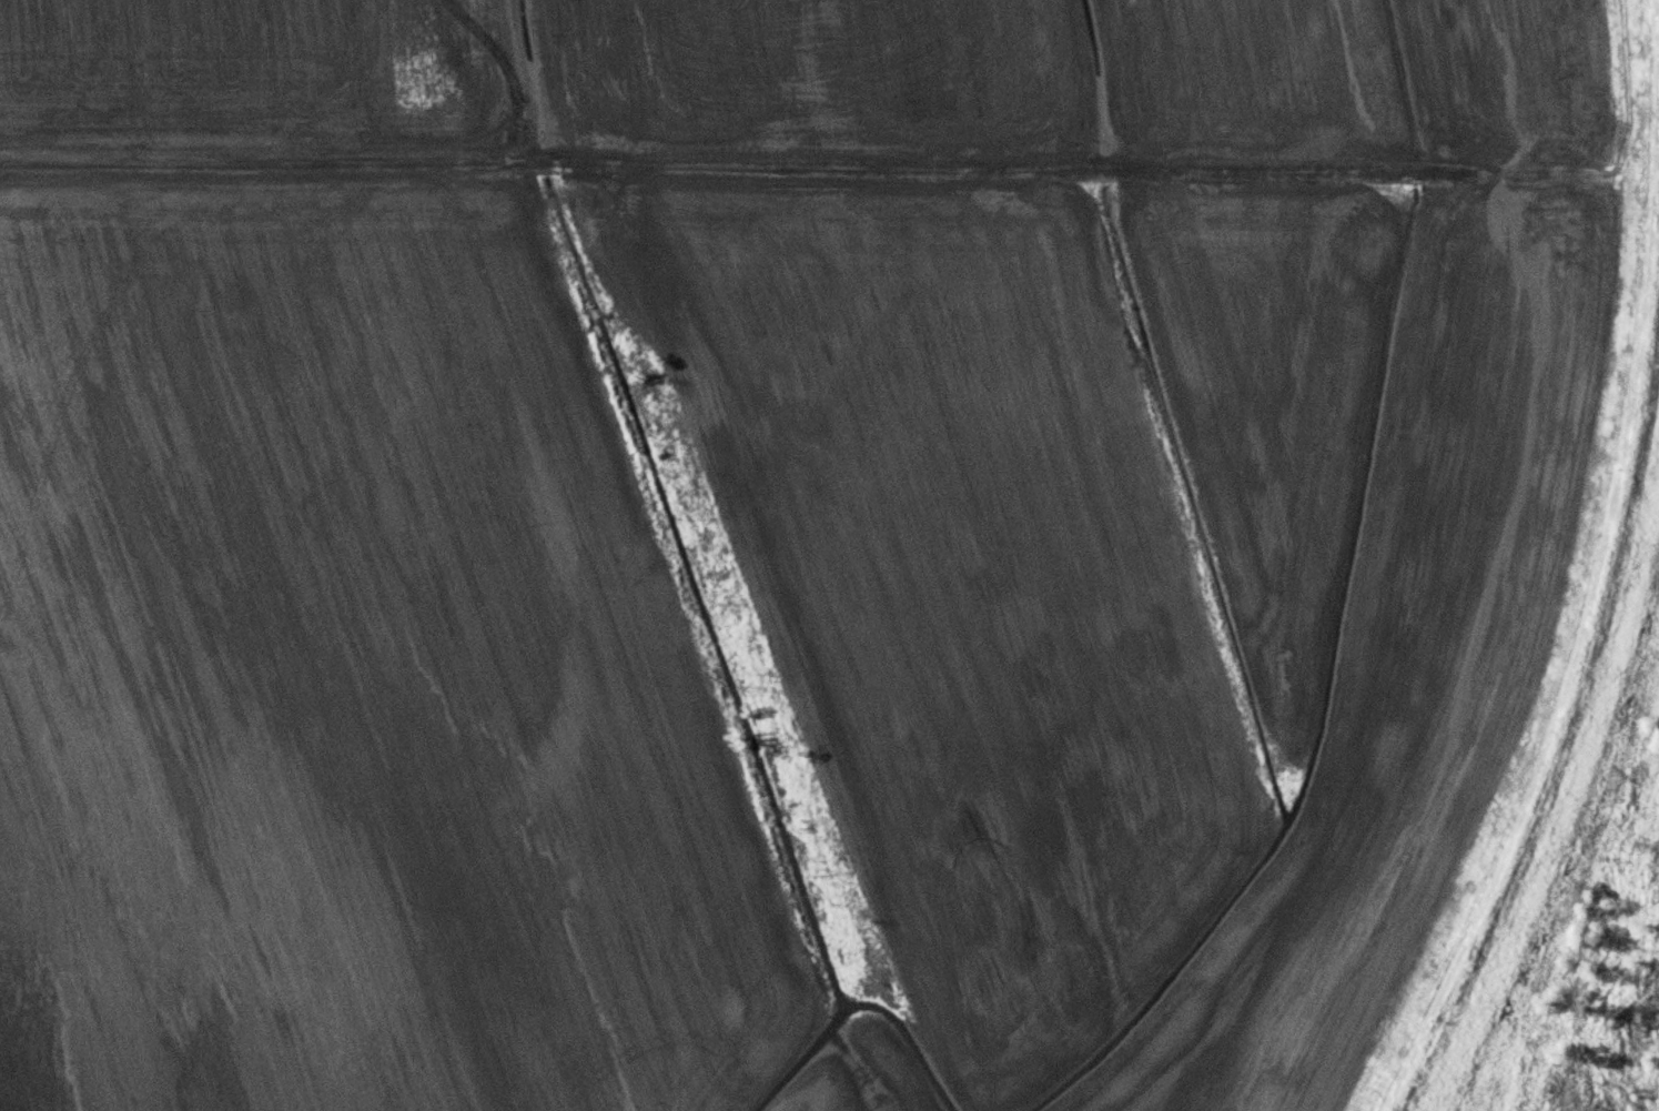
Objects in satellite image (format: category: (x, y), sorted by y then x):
road: (1557, 845)

